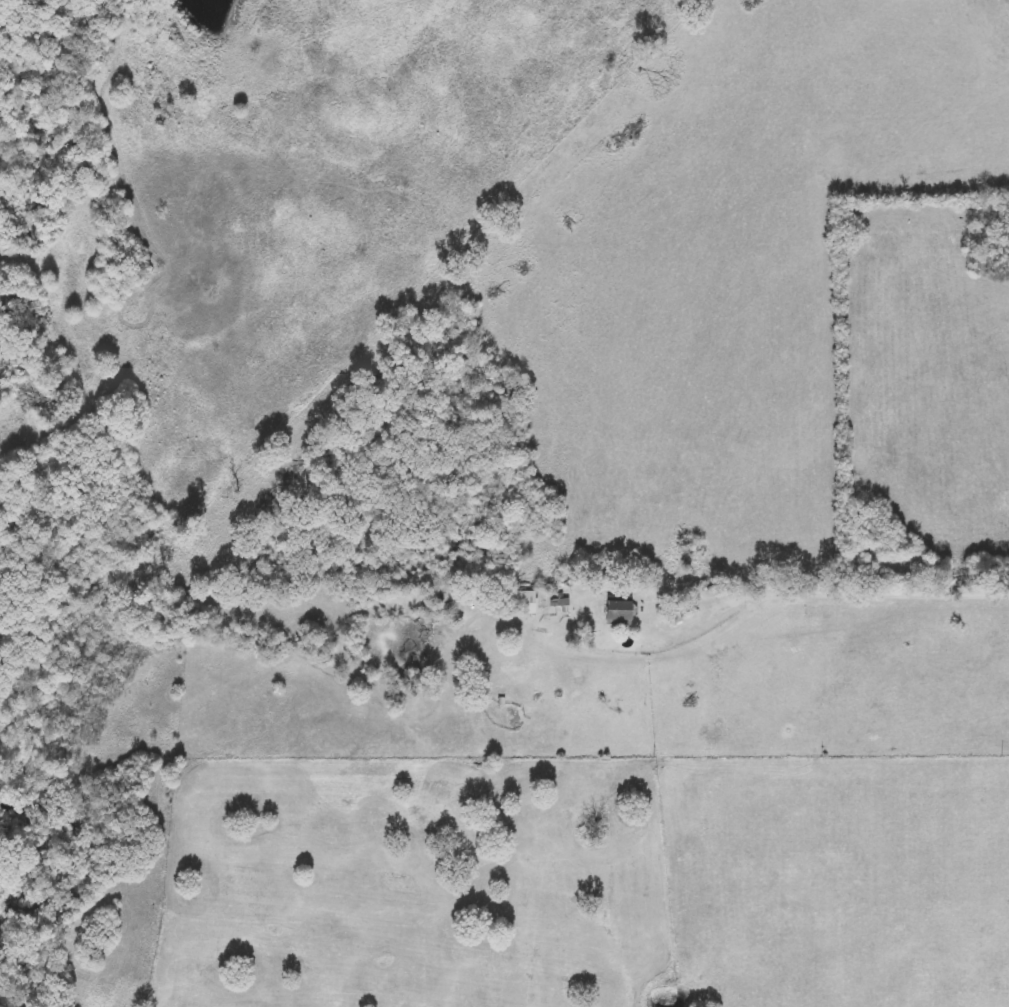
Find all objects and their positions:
road: (846, 597)
building: (618, 613)

